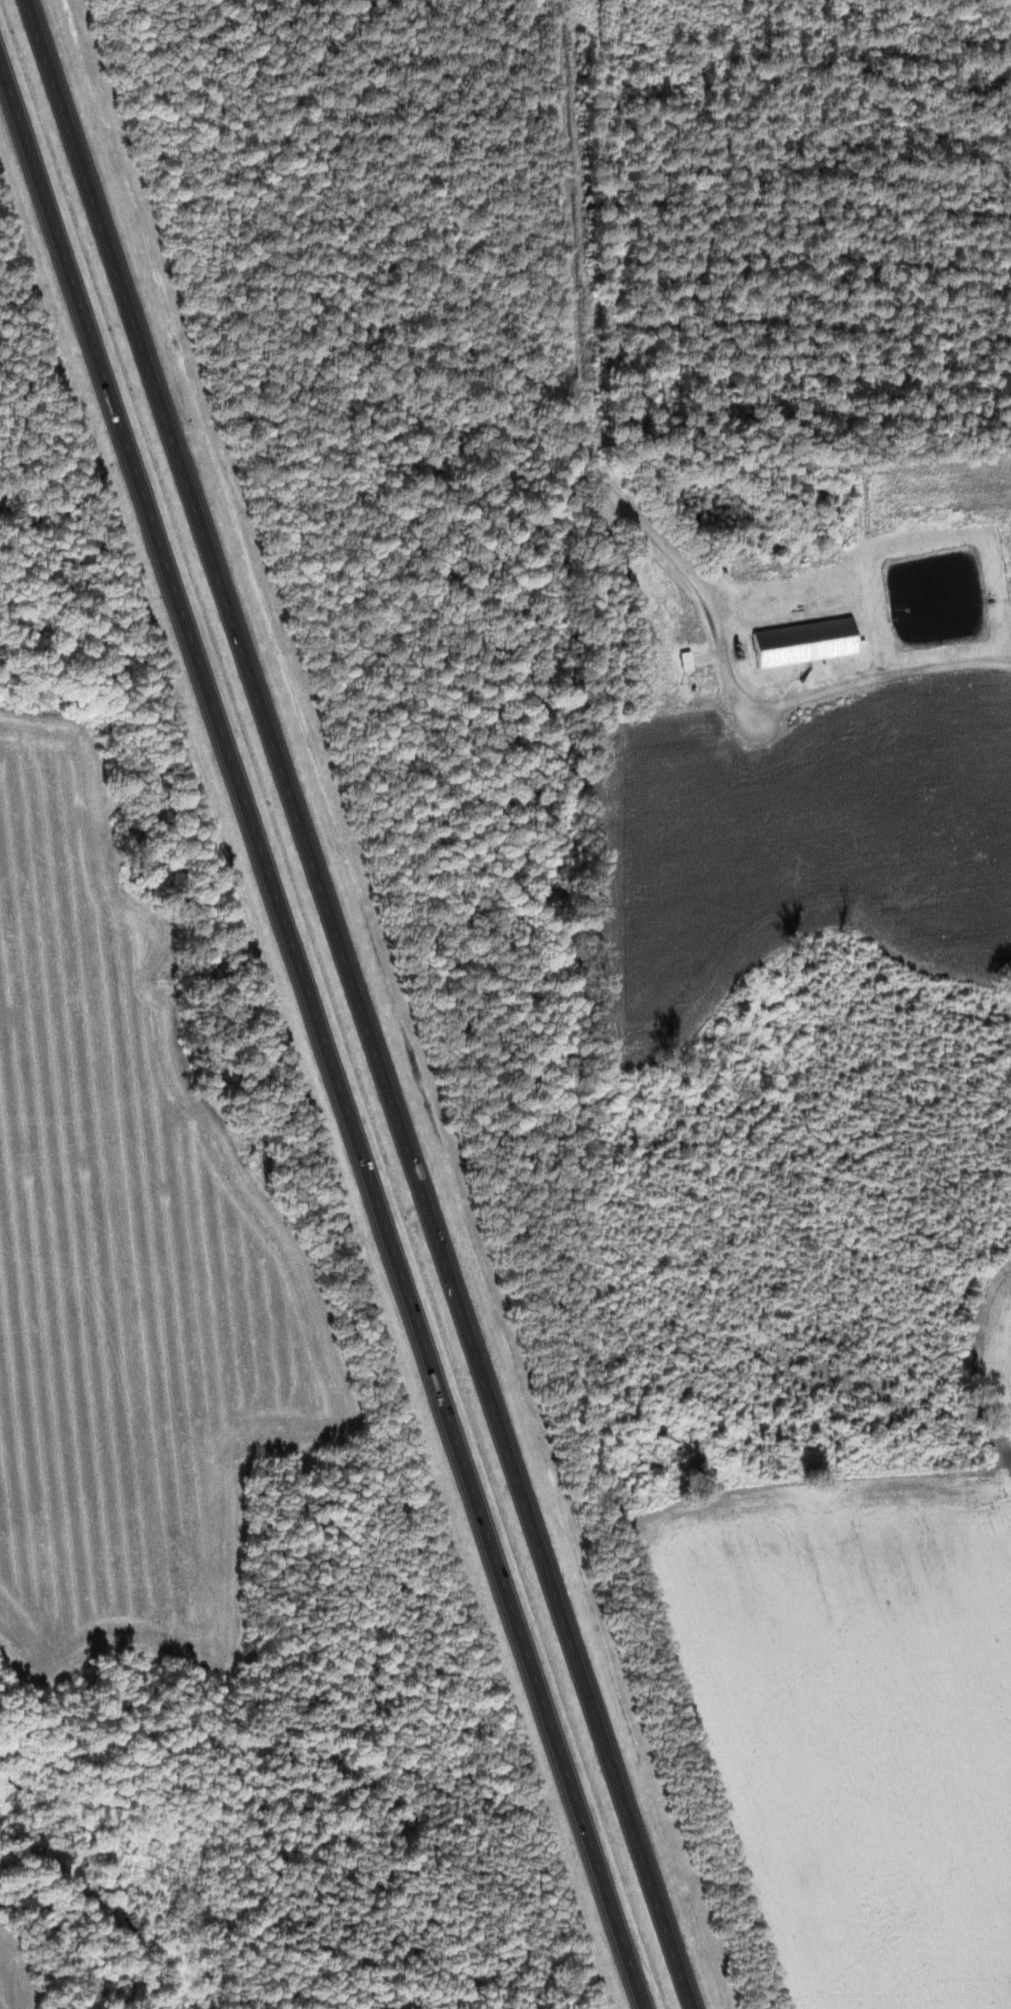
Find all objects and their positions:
building: (776, 646)
road: (359, 1004)
road: (323, 1032)
crop: (123, 1258)

